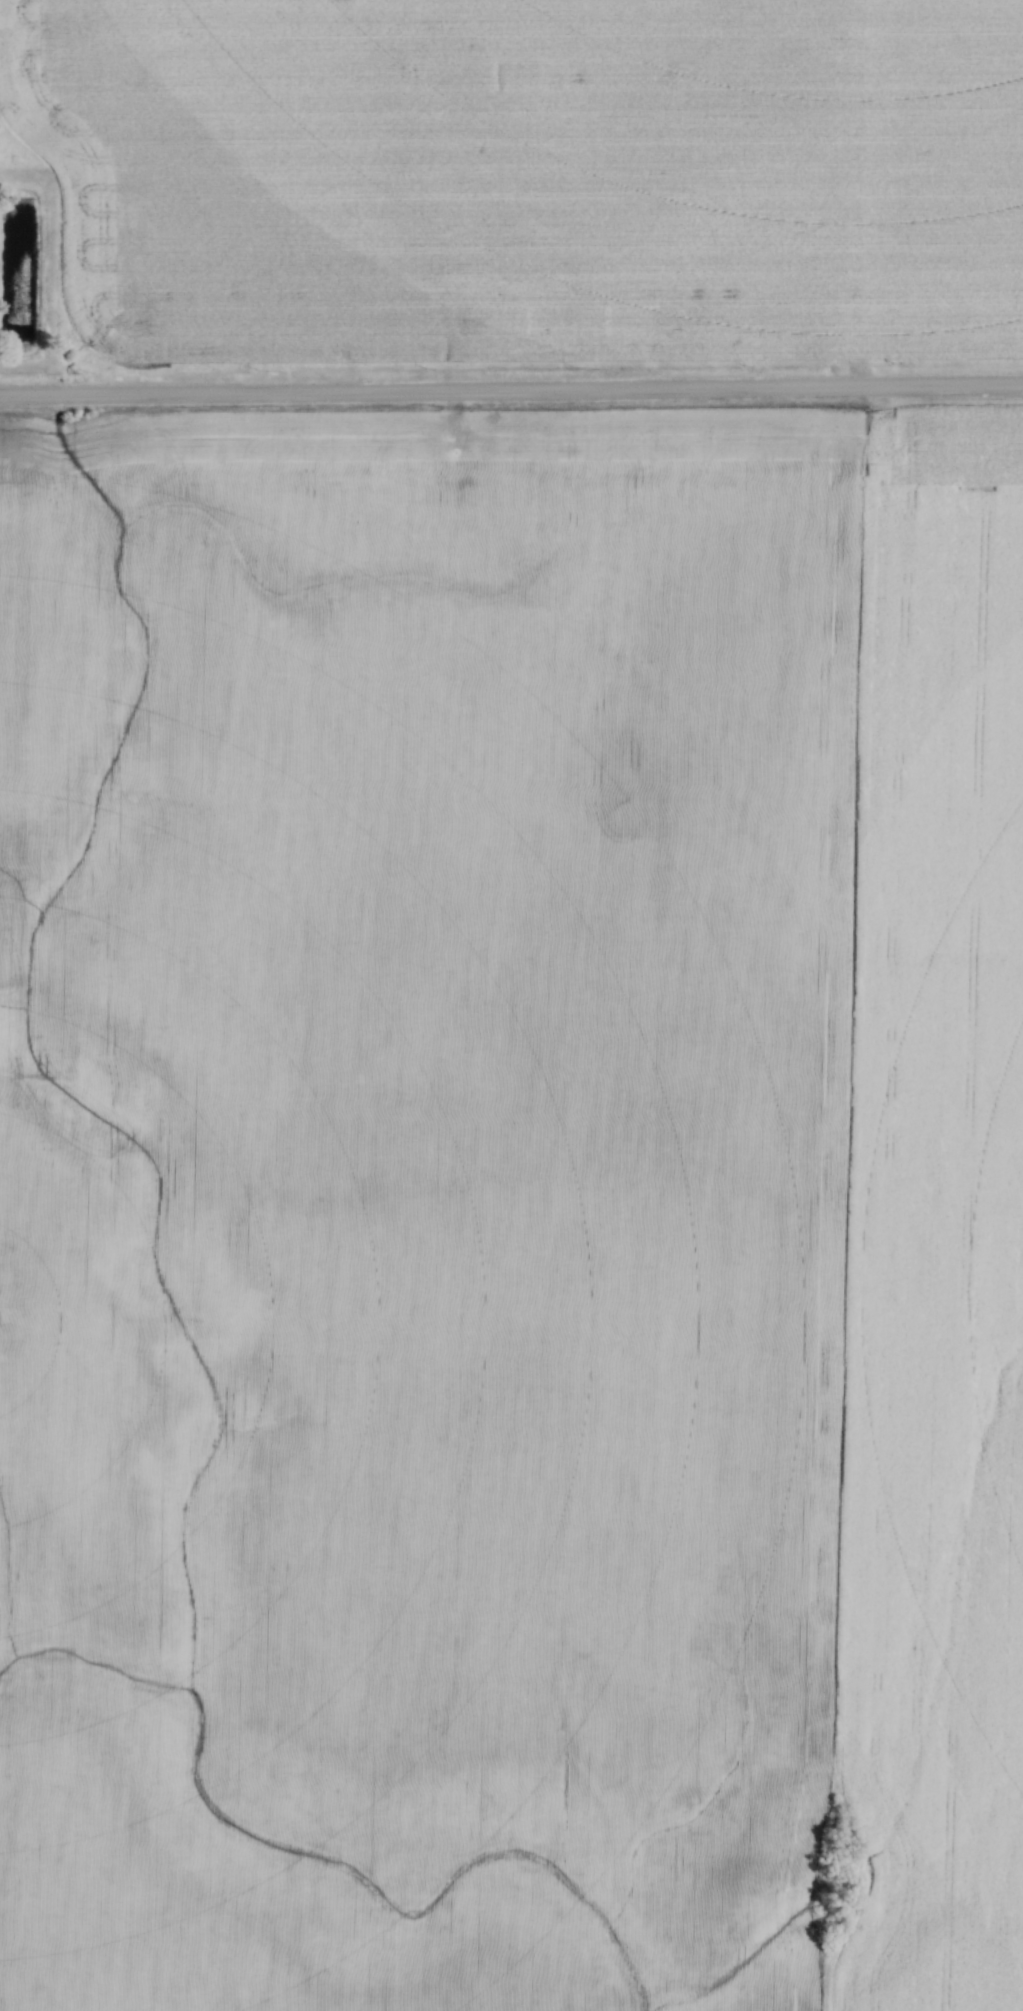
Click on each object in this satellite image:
road: (511, 394)

